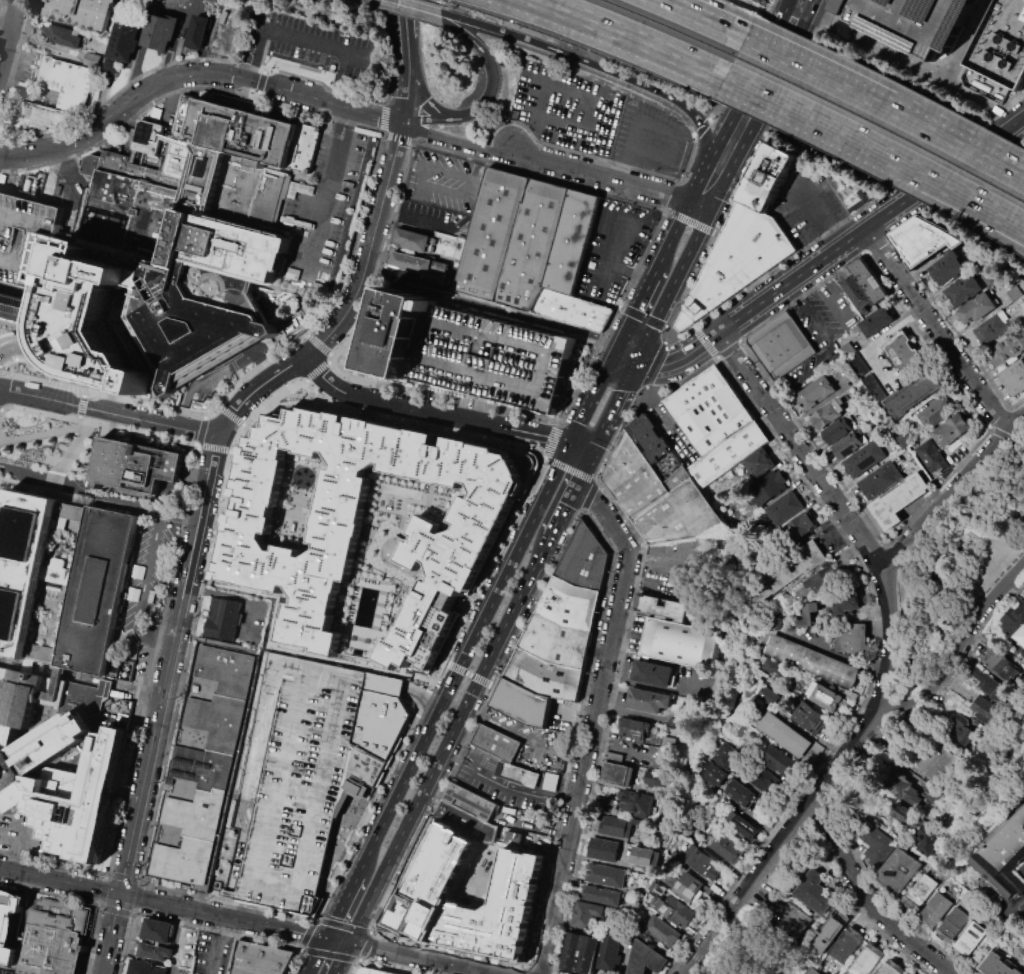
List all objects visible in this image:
building: (748, 0)
road: (786, 1)
road: (789, 1)
road: (767, 2)
parking lot: (0, 3)
road: (397, 3)
road: (811, 6)
road: (426, 10)
building: (78, 12)
traffic signals: (808, 12)
road: (425, 13)
road: (795, 15)
road: (804, 19)
road: (701, 20)
road: (711, 20)
building: (911, 21)
parking lot: (911, 21)
road: (6, 27)
building: (159, 30)
building: (196, 31)
building: (58, 33)
building: (127, 33)
road: (403, 33)
road: (9, 36)
road: (635, 37)
parking lot: (293, 39)
road: (794, 40)
road: (44, 44)
road: (329, 44)
road: (555, 51)
road: (252, 53)
building: (999, 53)
building: (90, 59)
road: (736, 62)
road: (915, 62)
road: (492, 67)
road: (18, 69)
road: (166, 81)
building: (66, 82)
road: (557, 86)
road: (746, 89)
road: (406, 94)
road: (424, 100)
road: (886, 107)
road: (376, 114)
building: (39, 116)
road: (812, 117)
parking lot: (596, 118)
road: (430, 120)
road: (652, 125)
road: (700, 127)
road: (701, 127)
road: (398, 139)
road: (457, 142)
road: (689, 159)
road: (747, 170)
road: (601, 177)
building: (766, 178)
road: (471, 182)
road: (66, 186)
road: (697, 188)
building: (846, 189)
road: (959, 192)
road: (325, 193)
parking lot: (441, 193)
road: (670, 194)
road: (959, 201)
parking lot: (992, 202)
parking lot: (808, 203)
parking lot: (330, 205)
road: (700, 205)
road: (711, 206)
road: (306, 210)
road: (815, 213)
road: (419, 218)
road: (689, 221)
road: (870, 223)
road: (716, 233)
road: (672, 237)
building: (921, 238)
building: (26, 239)
parking lot: (26, 239)
building: (412, 239)
building: (445, 244)
road: (614, 244)
parking lot: (615, 247)
building: (533, 248)
building: (176, 249)
building: (735, 260)
road: (364, 263)
building: (947, 265)
building: (419, 266)
road: (628, 273)
building: (988, 277)
building: (869, 280)
building: (964, 290)
road: (646, 291)
building: (856, 293)
building: (1012, 293)
building: (16, 304)
road: (618, 305)
road: (492, 308)
building: (977, 308)
parking lot: (824, 314)
road: (641, 315)
road: (611, 316)
road: (848, 317)
building: (877, 321)
road: (667, 326)
road: (893, 327)
road: (937, 327)
building: (992, 330)
road: (626, 331)
building: (395, 332)
road: (24, 346)
building: (780, 346)
building: (1007, 348)
road: (830, 349)
building: (904, 351)
traffic signals: (616, 354)
road: (625, 357)
road: (679, 358)
building: (491, 359)
parking lot: (491, 359)
traffic signals: (635, 361)
road: (874, 361)
road: (77, 362)
road: (655, 364)
building: (862, 371)
road: (210, 377)
building: (1014, 378)
road: (255, 387)
road: (648, 392)
building: (815, 392)
road: (103, 395)
building: (912, 395)
road: (618, 396)
road: (593, 399)
road: (645, 401)
road: (471, 408)
road: (110, 410)
road: (620, 410)
road: (430, 411)
building: (707, 411)
building: (829, 411)
building: (938, 411)
building: (839, 429)
building: (952, 430)
road: (1008, 434)
road: (675, 436)
road: (550, 439)
building: (647, 440)
road: (74, 442)
road: (595, 442)
building: (850, 444)
traffic signals: (570, 445)
road: (613, 446)
road: (1020, 449)
road: (580, 450)
road: (802, 451)
traffic signals: (590, 455)
building: (726, 455)
building: (865, 458)
building: (931, 458)
road: (560, 465)
building: (754, 466)
road: (569, 469)
road: (582, 470)
building: (142, 471)
building: (631, 479)
building: (881, 480)
traffic signals: (575, 486)
building: (766, 488)
road: (78, 494)
road: (588, 496)
building: (899, 501)
building: (786, 506)
road: (562, 511)
building: (678, 513)
road: (181, 517)
building: (798, 529)
road: (834, 530)
building: (451, 540)
road: (905, 543)
road: (667, 555)
building: (583, 560)
parking lot: (685, 560)
park: (959, 563)
building: (785, 570)
parking lot: (147, 571)
road: (483, 572)
building: (812, 582)
building: (64, 584)
road: (655, 584)
road: (144, 591)
building: (1021, 594)
road: (241, 596)
building: (843, 596)
building: (570, 604)
building: (666, 607)
road: (984, 610)
building: (808, 614)
building: (221, 618)
building: (1013, 624)
building: (776, 626)
building: (852, 637)
building: (557, 641)
building: (679, 642)
road: (835, 654)
building: (812, 660)
road: (2, 662)
road: (172, 662)
road: (444, 662)
building: (1003, 666)
road: (455, 667)
building: (772, 668)
building: (652, 672)
road: (467, 673)
building: (545, 676)
road: (479, 678)
road: (455, 679)
road: (491, 685)
road: (659, 686)
building: (992, 688)
road: (919, 692)
building: (79, 693)
building: (829, 695)
building: (648, 699)
road: (421, 702)
building: (521, 703)
road: (418, 705)
building: (985, 708)
building: (810, 718)
road: (594, 720)
road: (476, 721)
building: (674, 723)
building: (636, 727)
road: (259, 729)
road: (508, 729)
building: (788, 735)
road: (450, 738)
building: (664, 741)
building: (496, 743)
building: (944, 745)
road: (627, 747)
building: (614, 756)
building: (779, 759)
building: (204, 766)
building: (308, 766)
building: (719, 768)
building: (62, 772)
building: (618, 773)
parking lot: (293, 774)
road: (343, 774)
building: (517, 774)
building: (654, 778)
building: (551, 781)
building: (761, 783)
road: (507, 784)
building: (902, 784)
building: (740, 794)
road: (277, 796)
building: (471, 801)
building: (635, 803)
building: (603, 804)
road: (364, 816)
building: (467, 822)
building: (637, 822)
building: (615, 825)
building: (743, 825)
building: (916, 827)
road: (25, 836)
building: (664, 838)
road: (781, 842)
building: (873, 843)
road: (533, 844)
building: (603, 849)
building: (727, 849)
building: (1000, 853)
building: (714, 854)
building: (675, 856)
building: (645, 857)
building: (699, 858)
road: (253, 869)
building: (899, 870)
building: (606, 875)
parking lot: (1021, 875)
building: (689, 884)
road: (317, 886)
road: (297, 888)
building: (921, 891)
building: (814, 893)
building: (468, 894)
building: (600, 894)
road: (869, 899)
road: (163, 900)
road: (1016, 900)
parking lot: (1021, 903)
road: (342, 905)
building: (678, 909)
building: (935, 910)
building: (587, 913)
park: (1022, 917)
building: (791, 923)
building: (953, 924)
road: (344, 926)
road: (178, 927)
building: (8, 930)
building: (158, 930)
building: (661, 930)
building: (830, 931)
road: (116, 933)
road: (307, 934)
traffic signals: (327, 936)
building: (971, 937)
building: (55, 938)
road: (338, 938)
traffic signals: (350, 941)
road: (213, 943)
building: (846, 944)
road: (366, 945)
building: (154, 951)
building: (580, 952)
building: (611, 952)
road: (317, 954)
road: (329, 954)
road: (341, 957)
road: (428, 957)
building: (261, 958)
building: (644, 958)
building: (866, 960)
road: (293, 961)
building: (997, 965)
road: (356, 966)
building: (146, 967)
building: (891, 967)
road: (176, 970)
building: (814, 971)
building: (371, 972)
parking lot: (1, 973)
building: (907, 973)
building: (911, 973)

